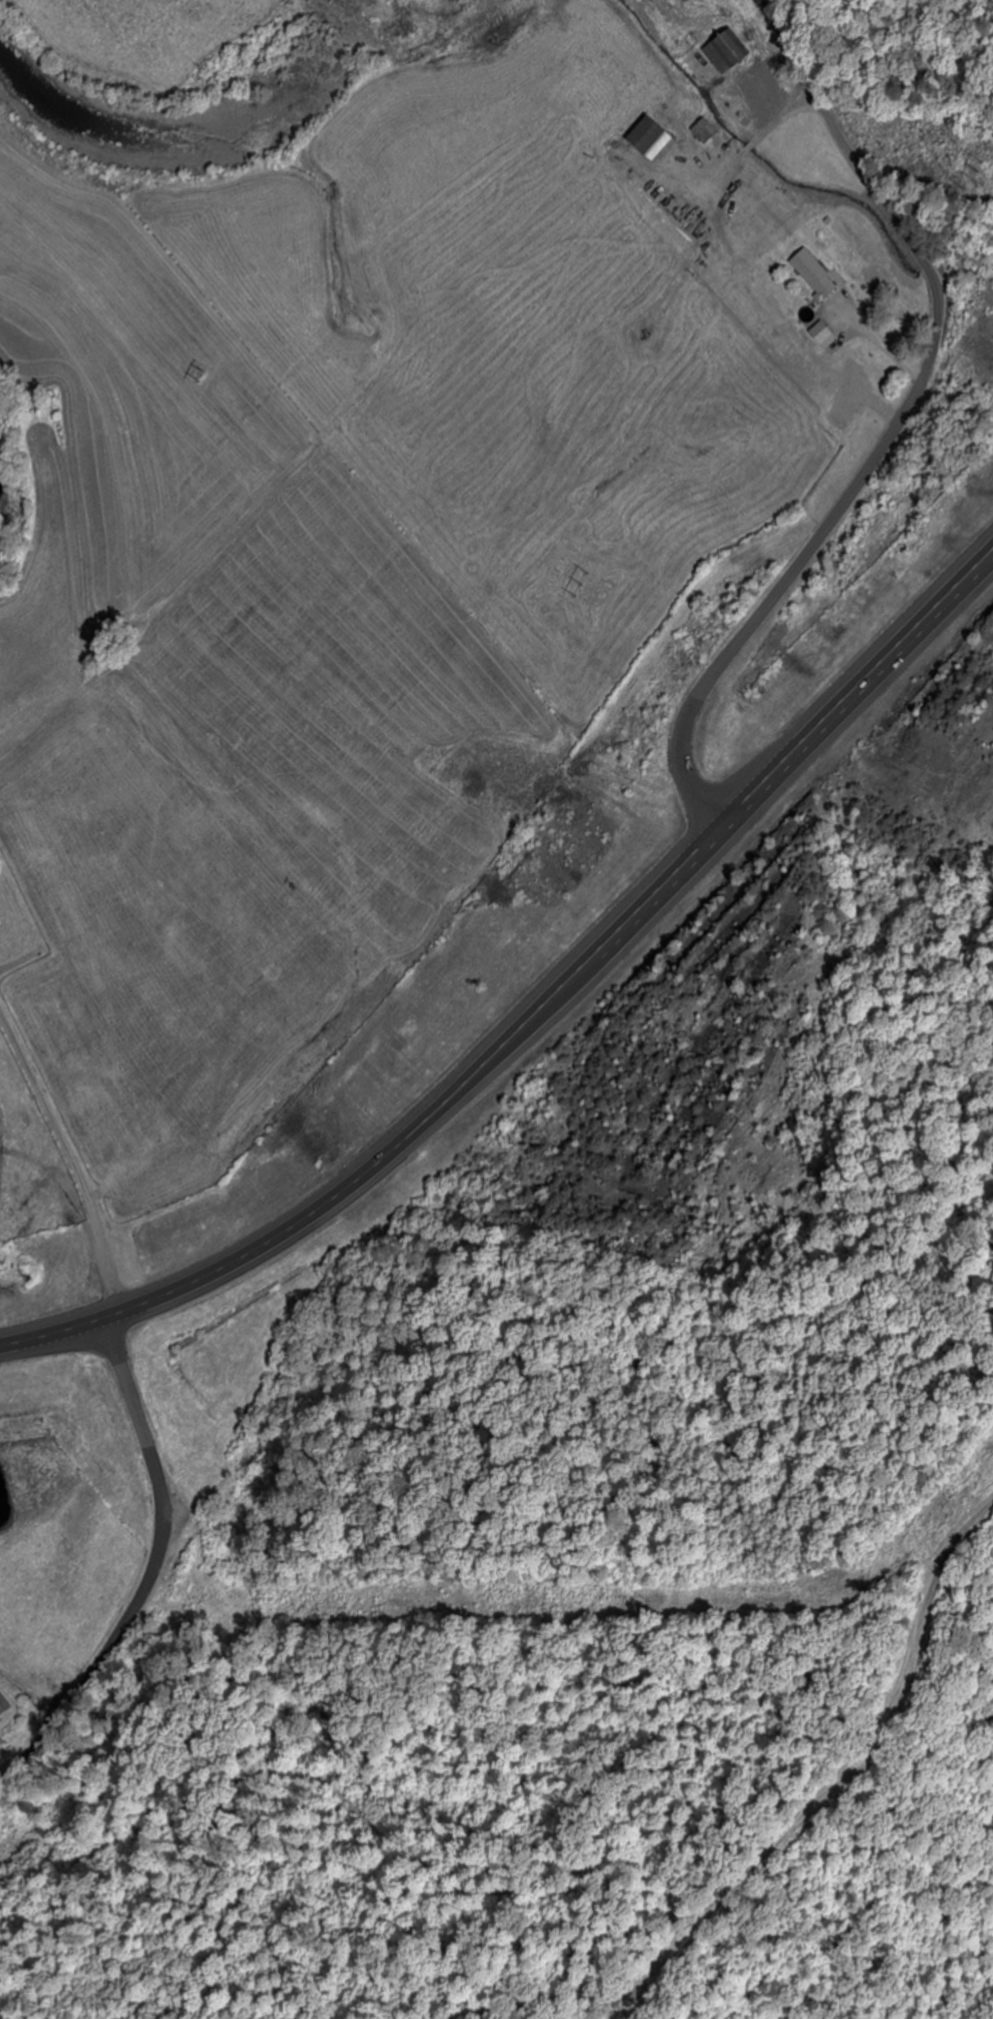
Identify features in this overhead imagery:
building: (730, 49)
building: (704, 132)
building: (650, 139)
building: (814, 275)
road: (959, 278)
building: (823, 336)
building: (854, 391)
building: (841, 414)
road: (895, 427)
building: (0, 929)
road: (539, 1013)
road: (150, 1572)
building: (3, 1706)

